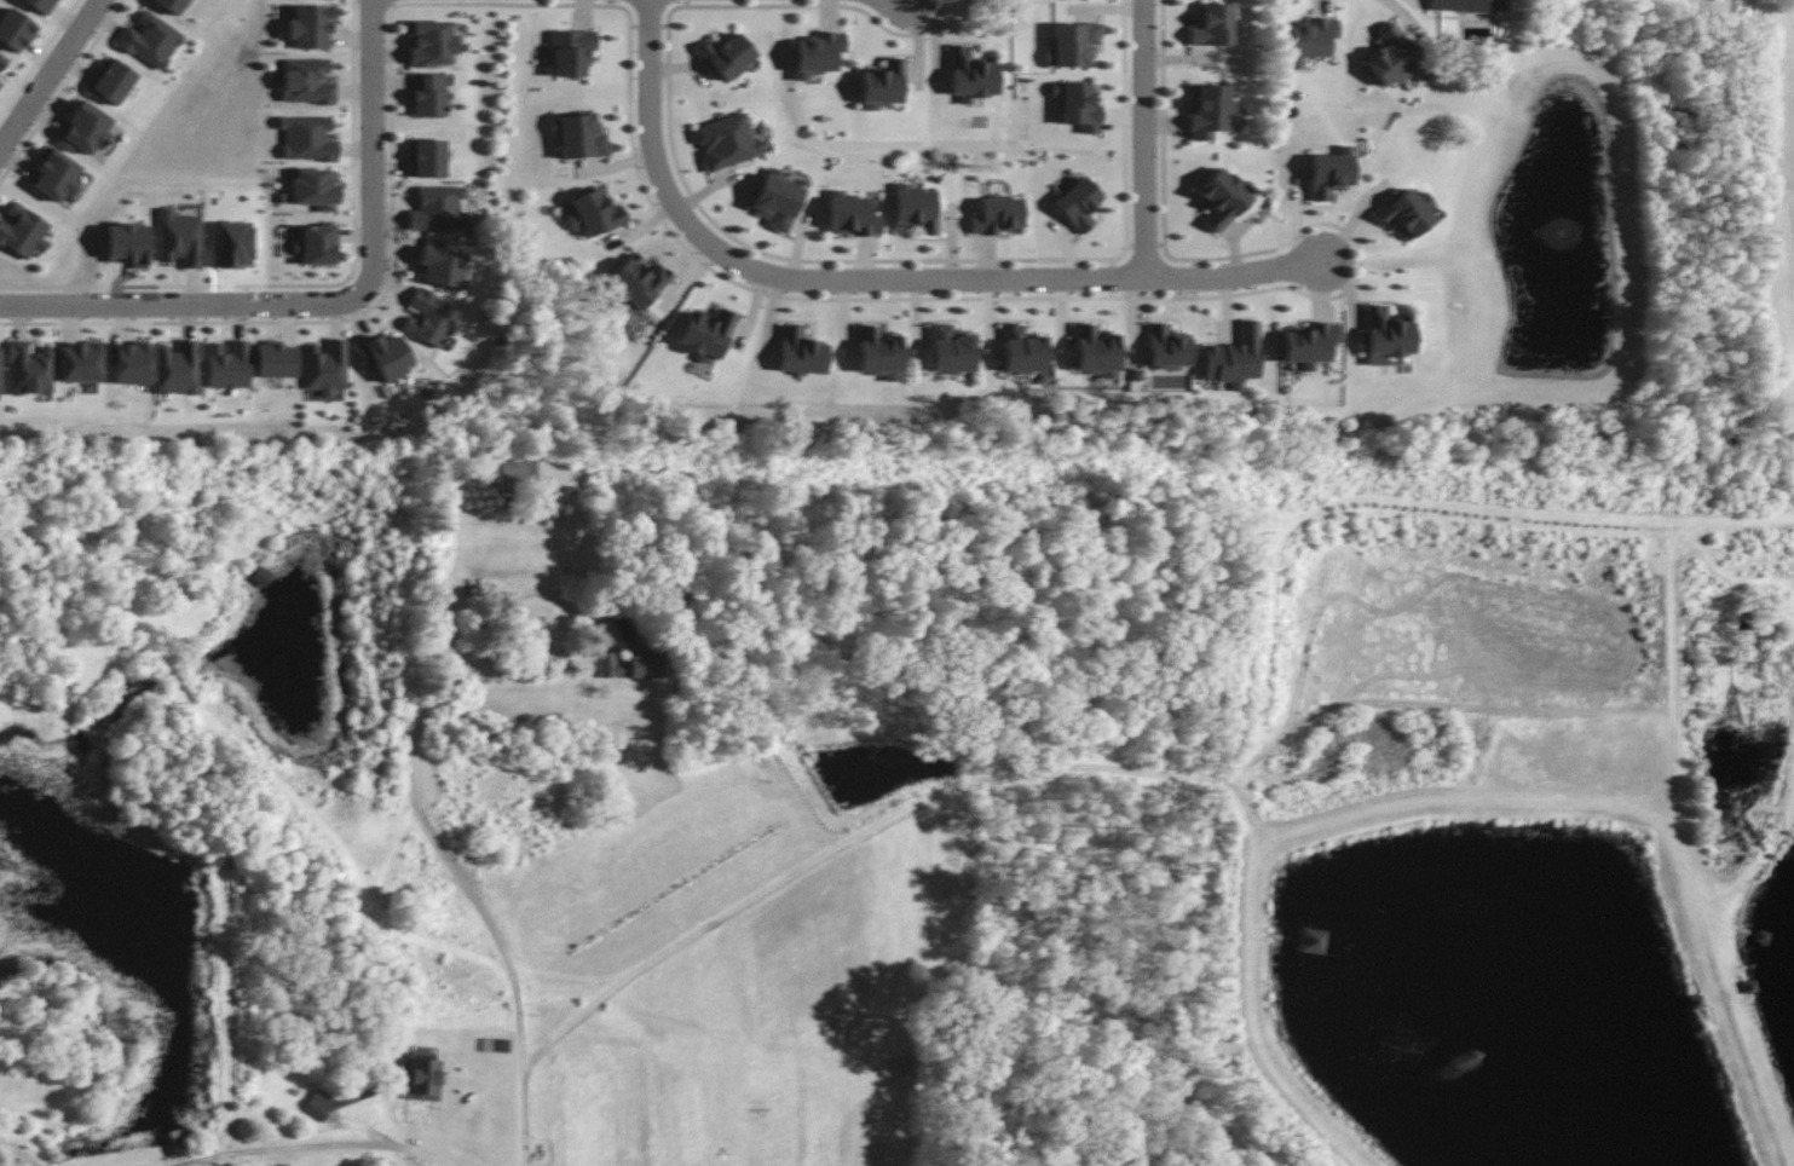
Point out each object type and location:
building: (40, 5)
building: (171, 5)
building: (1466, 5)
building: (1212, 25)
building: (310, 27)
building: (15, 29)
building: (150, 40)
building: (1309, 40)
building: (431, 42)
building: (1072, 44)
building: (570, 52)
building: (817, 53)
building: (726, 56)
building: (1391, 56)
building: (1, 59)
road: (48, 71)
building: (970, 75)
building: (110, 81)
building: (306, 81)
building: (0, 82)
building: (882, 85)
building: (428, 94)
building: (1077, 106)
building: (1210, 111)
road: (648, 123)
building: (83, 129)
building: (578, 134)
building: (306, 138)
road: (1142, 140)
building: (726, 142)
road: (370, 150)
building: (426, 158)
building: (1329, 172)
building: (56, 174)
building: (315, 189)
building: (1221, 198)
building: (775, 200)
building: (1078, 203)
building: (438, 208)
building: (913, 208)
building: (594, 213)
building: (1404, 213)
building: (850, 215)
building: (996, 215)
building: (23, 232)
building: (179, 237)
building: (233, 243)
building: (127, 244)
building: (316, 244)
building: (439, 264)
road: (1236, 277)
road: (913, 281)
building: (635, 282)
road: (180, 307)
building: (428, 318)
building: (1385, 333)
building: (704, 334)
building: (1306, 344)
building: (1165, 347)
building: (950, 350)
building: (1021, 350)
building: (1095, 351)
building: (800, 352)
building: (878, 353)
building: (385, 356)
building: (1233, 358)
building: (276, 360)
building: (79, 362)
building: (128, 363)
building: (229, 365)
building: (325, 366)
building: (29, 369)
building: (177, 369)
building: (0, 381)
building: (513, 472)
road: (587, 614)
building: (629, 664)
road: (939, 800)
road: (1679, 821)
wastewater plant: (1523, 830)
road: (479, 908)
building: (420, 1079)
road: (323, 1147)
road: (23, 1149)

